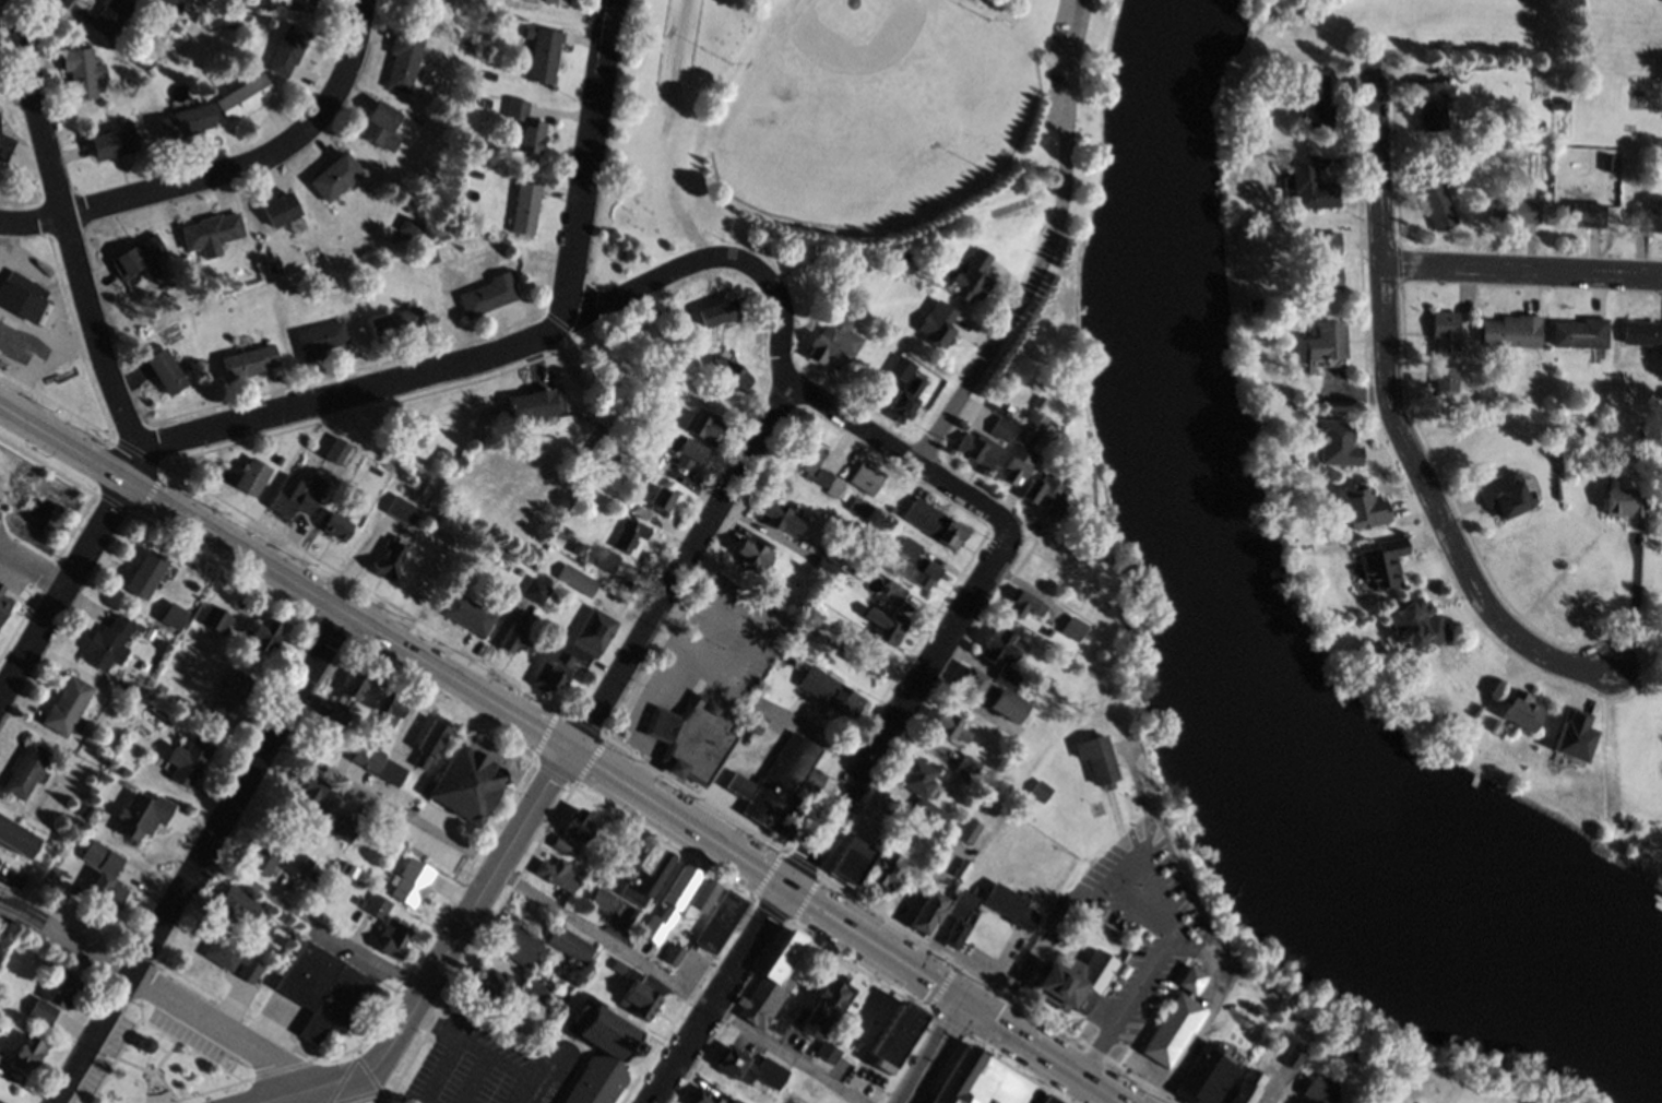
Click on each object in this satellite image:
building: (170, 1)
building: (556, 1)
building: (5, 2)
building: (163, 2)
building: (179, 3)
building: (301, 5)
building: (110, 15)
building: (287, 48)
building: (542, 50)
building: (403, 59)
building: (145, 62)
building: (83, 71)
building: (489, 74)
building: (244, 96)
building: (1314, 97)
building: (486, 102)
building: (1557, 103)
building: (1430, 105)
park: (869, 112)
building: (185, 122)
park: (818, 124)
building: (381, 126)
building: (524, 127)
building: (112, 142)
building: (4, 145)
building: (1606, 162)
road: (228, 171)
building: (335, 177)
building: (1310, 183)
building: (1436, 201)
building: (281, 207)
building: (524, 207)
building: (1513, 210)
building: (1586, 214)
building: (1648, 214)
building: (295, 225)
building: (411, 225)
road: (69, 226)
building: (212, 233)
road: (1049, 249)
building: (140, 259)
building: (1323, 261)
building: (905, 269)
road: (1523, 270)
building: (971, 277)
building: (851, 278)
building: (488, 294)
building: (21, 296)
building: (715, 311)
building: (397, 323)
building: (935, 327)
building: (7, 330)
building: (1511, 330)
building: (1642, 331)
building: (1579, 332)
building: (1444, 333)
building: (318, 340)
building: (830, 340)
building: (1326, 342)
road: (512, 347)
building: (247, 361)
building: (899, 368)
building: (165, 370)
building: (726, 372)
building: (1445, 378)
building: (612, 384)
building: (903, 400)
building: (1036, 403)
building: (531, 405)
road: (1394, 413)
building: (704, 426)
road: (767, 428)
building: (999, 428)
building: (1642, 429)
building: (1335, 442)
building: (679, 446)
building: (1021, 448)
building: (977, 449)
road: (899, 453)
building: (612, 456)
building: (589, 458)
building: (810, 462)
road: (134, 463)
building: (376, 470)
building: (329, 471)
building: (251, 475)
building: (865, 476)
building: (1506, 491)
building: (1043, 494)
building: (292, 496)
building: (661, 497)
building: (1624, 499)
building: (626, 500)
building: (1362, 503)
building: (857, 506)
building: (401, 508)
building: (640, 510)
building: (890, 510)
building: (776, 514)
building: (934, 520)
building: (335, 524)
building: (630, 534)
building: (906, 545)
building: (751, 551)
building: (604, 556)
building: (388, 557)
building: (1381, 561)
building: (822, 564)
road: (34, 567)
building: (519, 569)
building: (145, 571)
building: (923, 571)
building: (575, 577)
building: (1, 585)
building: (534, 588)
building: (892, 590)
road: (66, 591)
building: (1024, 601)
building: (3, 603)
road: (1636, 606)
building: (466, 610)
building: (214, 616)
building: (886, 621)
building: (1414, 622)
building: (1071, 626)
building: (1045, 630)
building: (263, 632)
river: (1233, 633)
building: (514, 637)
building: (107, 640)
building: (1000, 642)
building: (573, 649)
building: (865, 655)
road: (725, 675)
building: (1007, 676)
building: (973, 684)
building: (829, 690)
building: (233, 692)
road: (486, 695)
building: (346, 696)
building: (1004, 699)
building: (67, 704)
building: (388, 704)
building: (1519, 709)
road: (901, 714)
building: (755, 720)
building: (948, 723)
building: (328, 733)
building: (691, 736)
building: (429, 740)
building: (366, 754)
building: (1095, 757)
building: (188, 759)
building: (965, 766)
building: (26, 769)
building: (390, 771)
building: (779, 779)
building: (812, 779)
building: (467, 782)
building: (739, 784)
building: (921, 787)
building: (1038, 788)
building: (310, 792)
building: (88, 811)
building: (141, 814)
building: (790, 817)
building: (578, 822)
building: (340, 826)
building: (967, 828)
building: (15, 835)
building: (563, 845)
building: (420, 846)
park: (1628, 849)
road: (195, 853)
building: (100, 855)
building: (263, 856)
building: (443, 856)
building: (850, 858)
building: (340, 863)
building: (960, 866)
building: (351, 868)
building: (883, 869)
building: (558, 873)
building: (644, 876)
building: (409, 879)
building: (105, 887)
building: (913, 889)
building: (599, 898)
building: (359, 901)
building: (699, 901)
building: (378, 904)
building: (233, 905)
building: (670, 905)
building: (1009, 905)
building: (926, 910)
building: (958, 914)
road: (568, 915)
road: (311, 922)
building: (720, 923)
building: (393, 936)
building: (514, 942)
building: (569, 942)
building: (674, 954)
building: (229, 956)
road: (448, 957)
building: (1072, 979)
building: (492, 985)
building: (534, 985)
building: (771, 986)
building: (63, 988)
building: (321, 988)
road: (156, 989)
building: (634, 991)
road: (721, 996)
traffic signals: (965, 1001)
building: (1143, 1001)
building: (827, 1003)
building: (41, 1010)
building: (1219, 1018)
building: (1173, 1020)
building: (599, 1028)
building: (893, 1034)
building: (512, 1048)
building: (827, 1051)
building: (27, 1052)
road: (935, 1052)
road: (1043, 1052)
building: (1292, 1054)
building: (0, 1055)
park: (168, 1057)
building: (749, 1066)
building: (1203, 1075)
building: (982, 1080)
building: (593, 1083)
building: (1245, 1086)
building: (1318, 1089)
road: (357, 1092)
building: (702, 1095)
building: (1046, 1099)
building: (736, 1100)
road: (289, 1101)
building: (1415, 1102)

